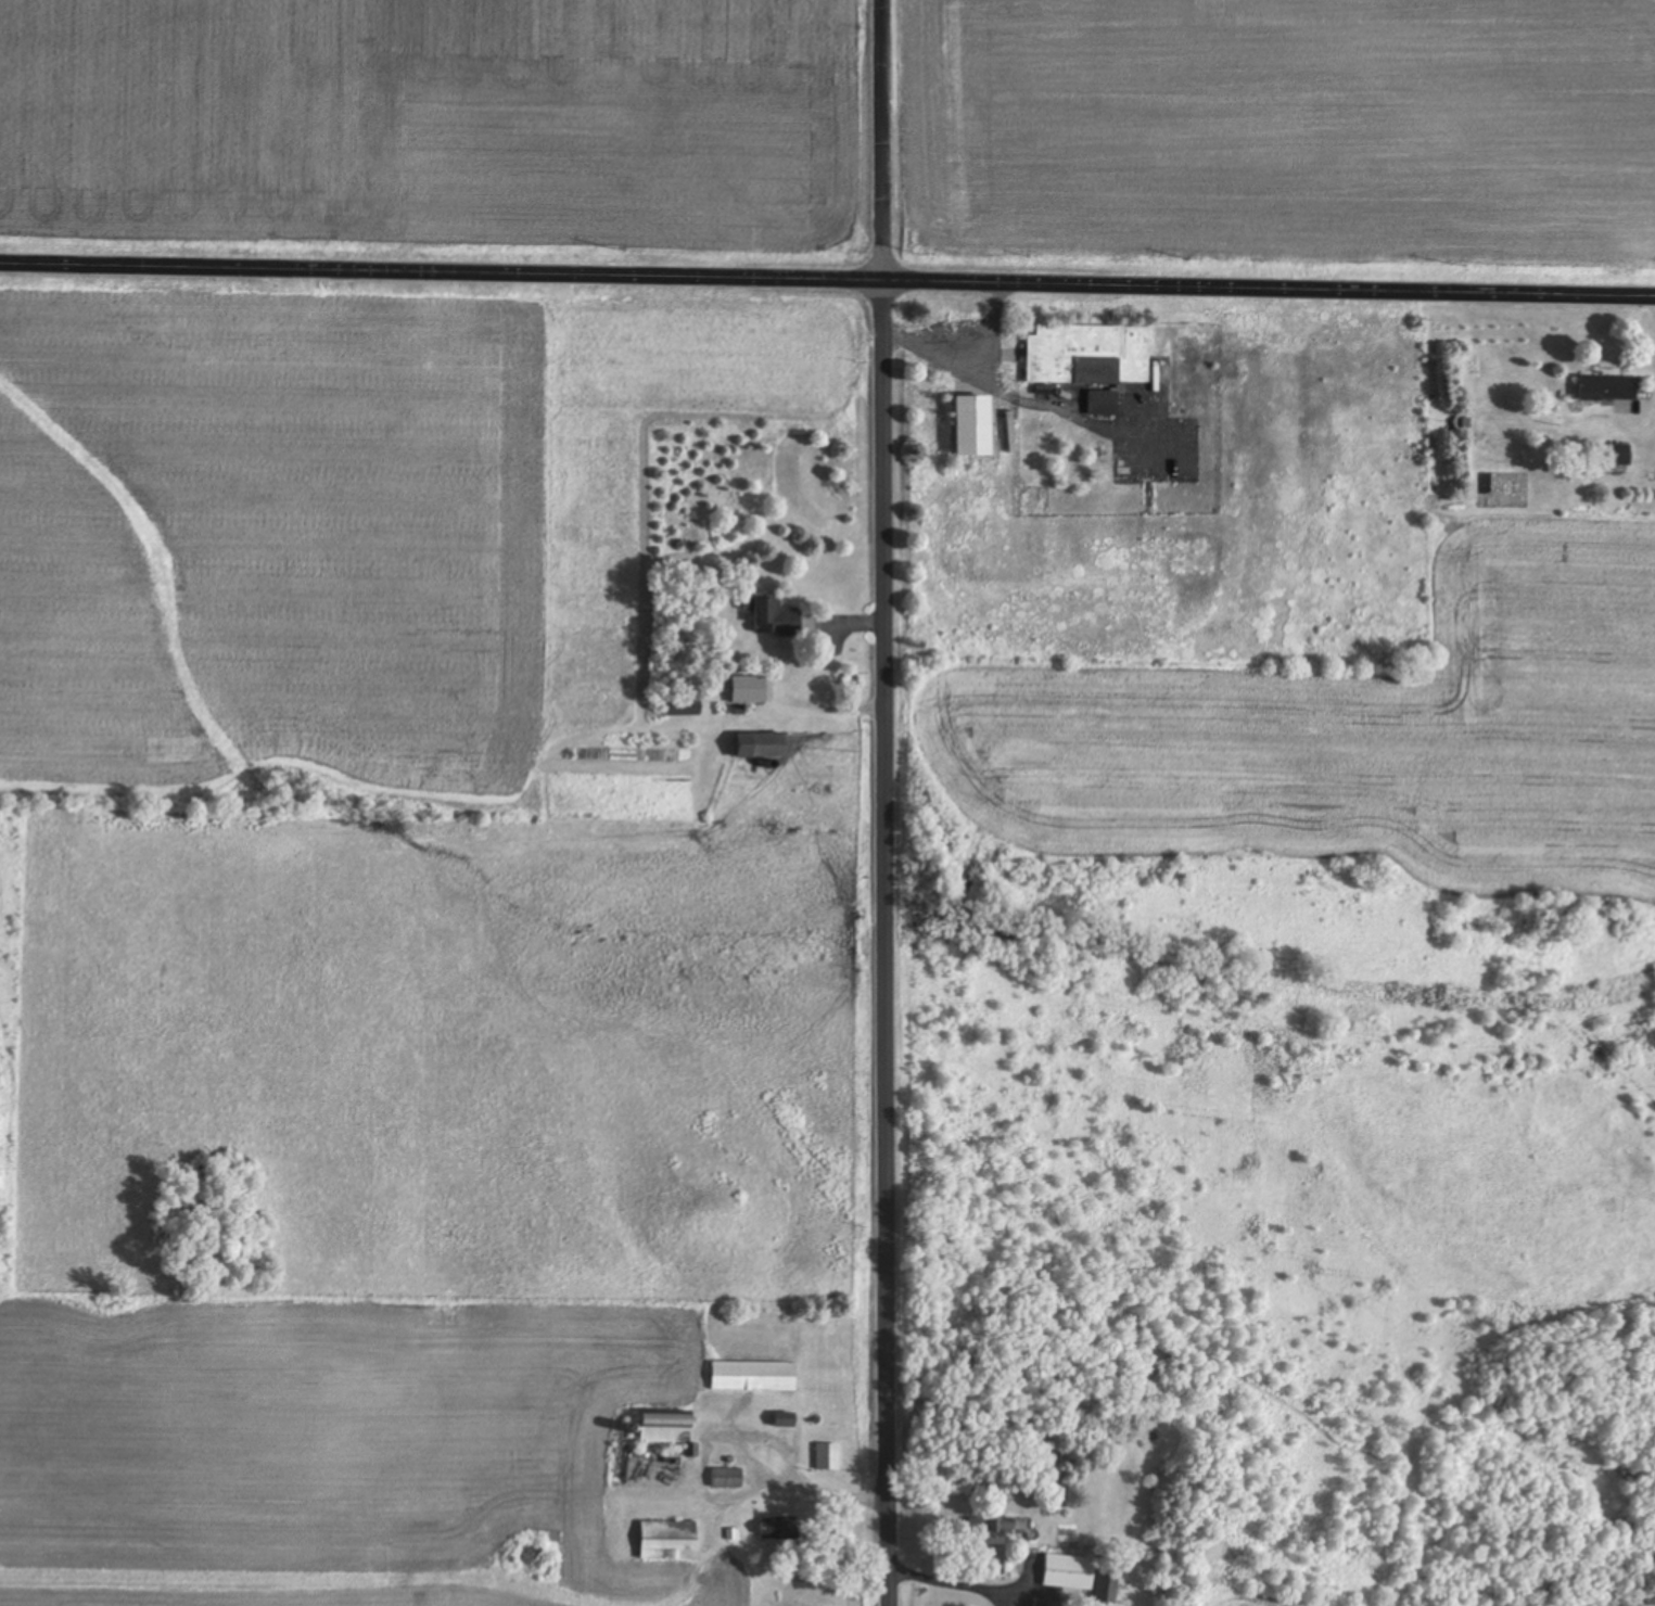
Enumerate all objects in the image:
road: (827, 285)
building: (1090, 354)
building: (1608, 387)
building: (1104, 405)
building: (977, 424)
building: (1619, 457)
building: (771, 616)
building: (686, 708)
building: (764, 747)
road: (887, 803)
building: (754, 1377)
building: (787, 1420)
building: (669, 1429)
building: (828, 1458)
building: (727, 1479)
building: (778, 1530)
building: (992, 1530)
building: (667, 1540)
building: (1083, 1579)
building: (1046, 1604)

